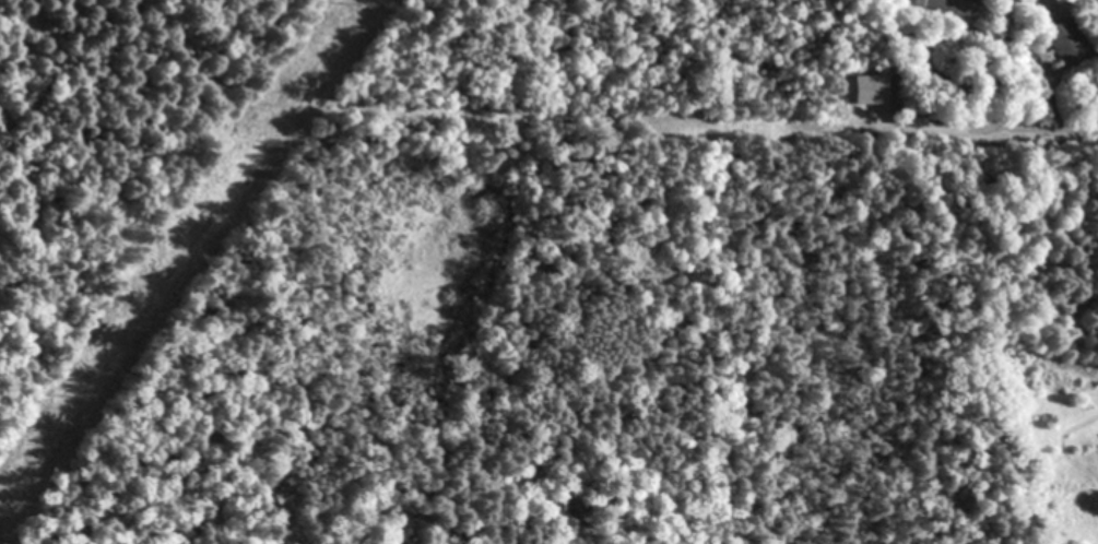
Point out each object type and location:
building: (912, 1)
power tower: (358, 7)
building: (952, 7)
building: (1066, 42)
building: (866, 90)
road: (999, 131)
power tower: (211, 206)
power tower: (73, 395)

